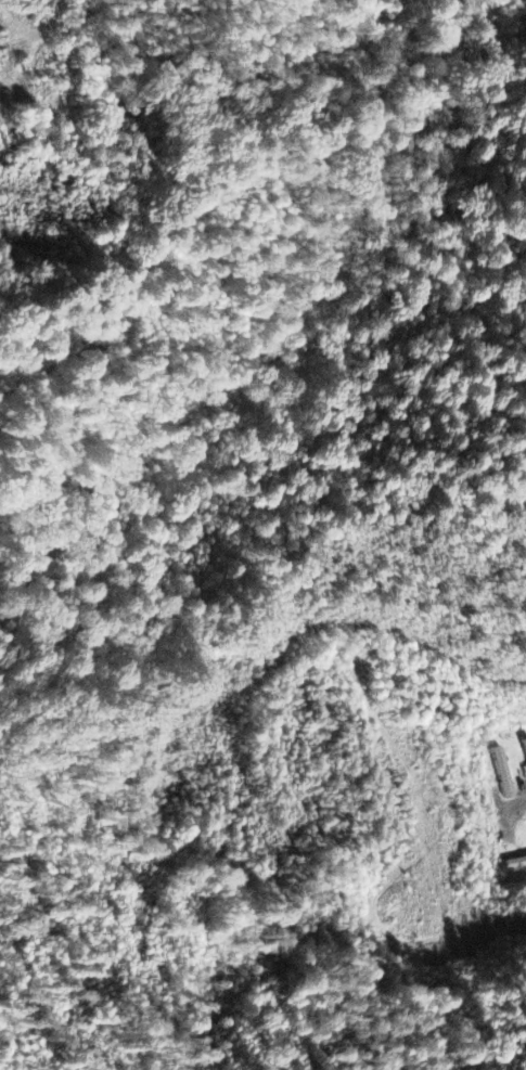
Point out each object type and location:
building: (525, 745)
building: (504, 774)
road: (421, 804)
road: (521, 807)
building: (517, 865)

